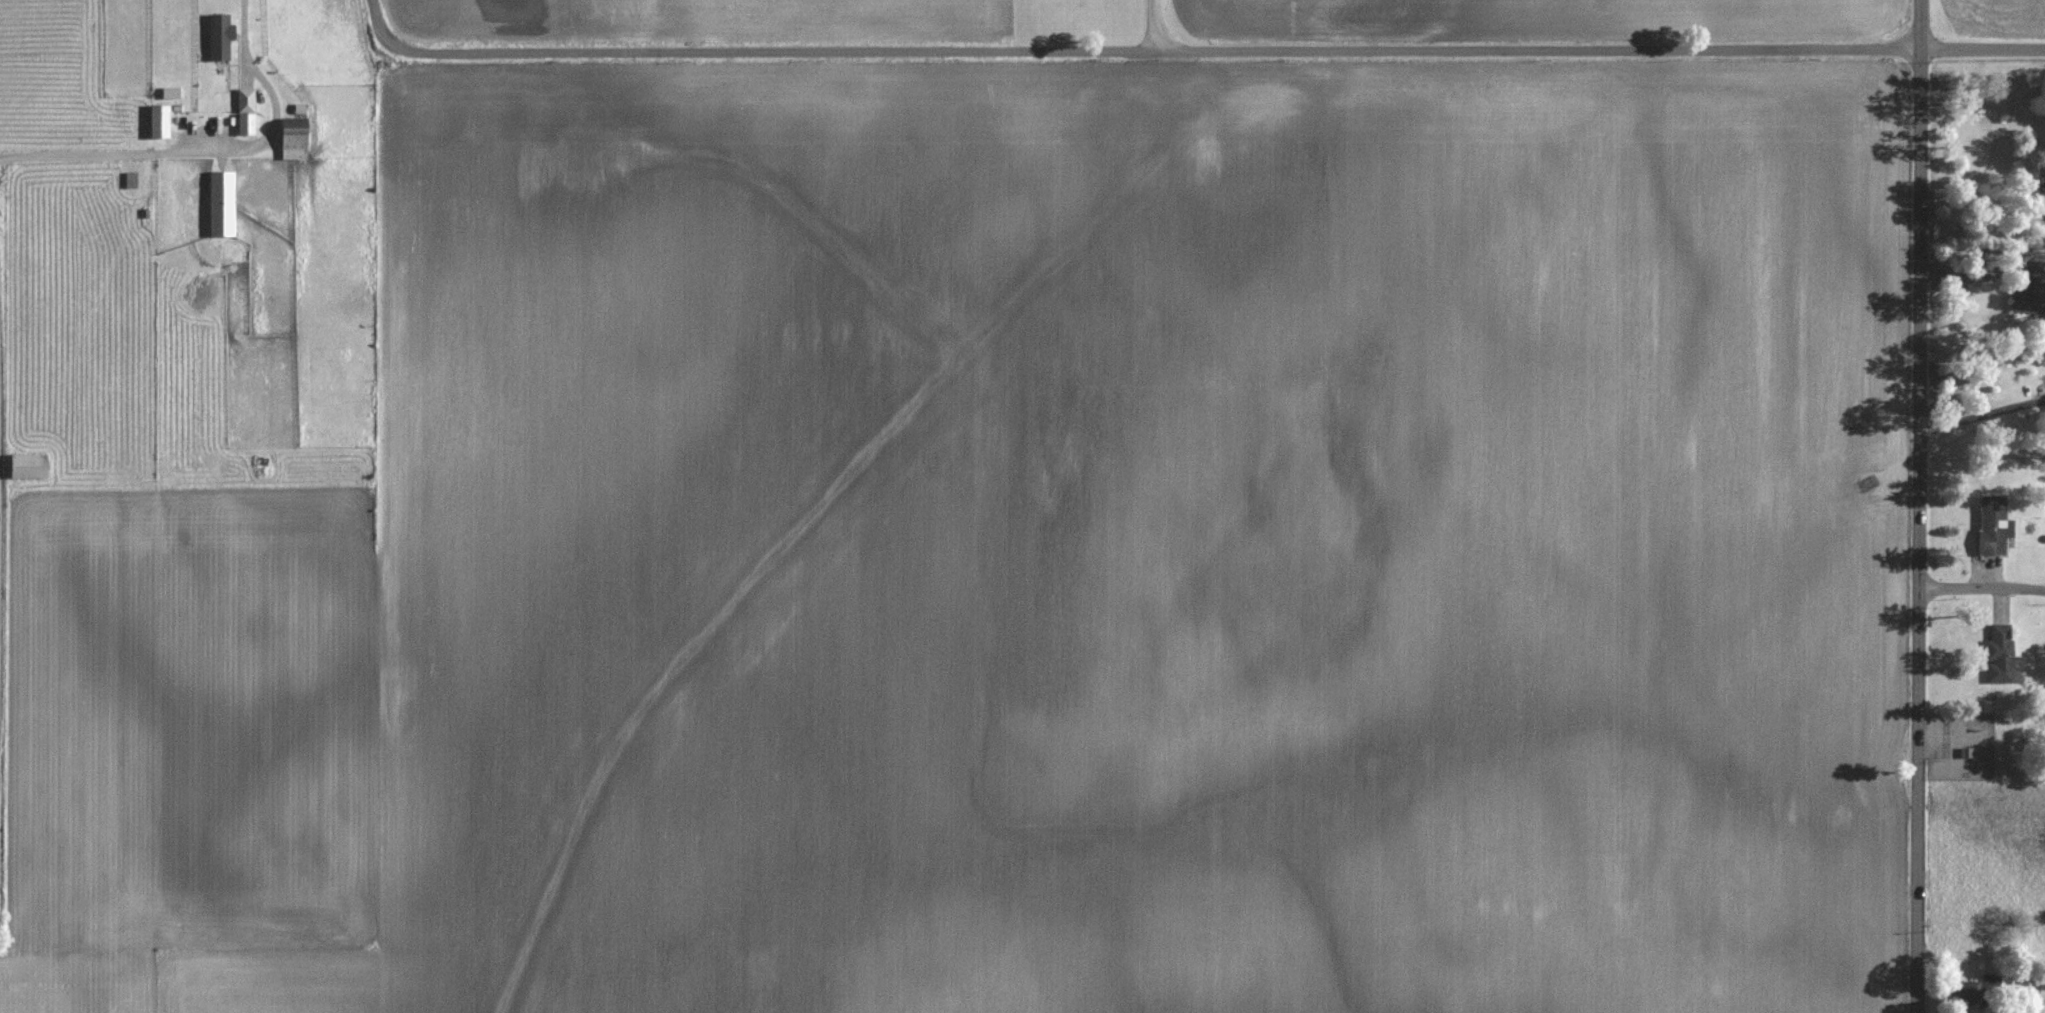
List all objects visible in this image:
road: (1154, 25)
building: (220, 37)
road: (1192, 50)
building: (246, 112)
building: (159, 121)
road: (266, 131)
building: (294, 143)
road: (1984, 203)
building: (221, 204)
road: (1970, 273)
building: (2031, 291)
road: (1981, 411)
building: (29, 466)
road: (1920, 506)
building: (1994, 526)
road: (1982, 587)
building: (2042, 979)
building: (1973, 993)

